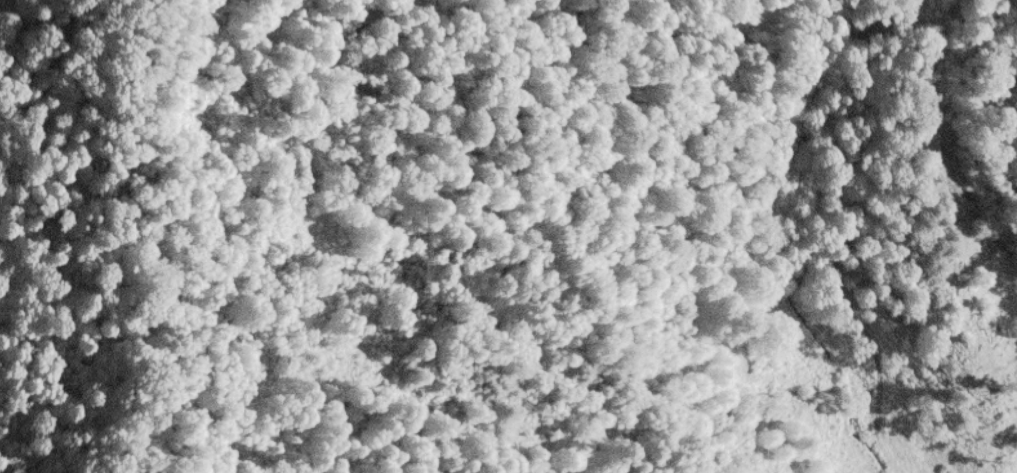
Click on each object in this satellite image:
road: (843, 234)

